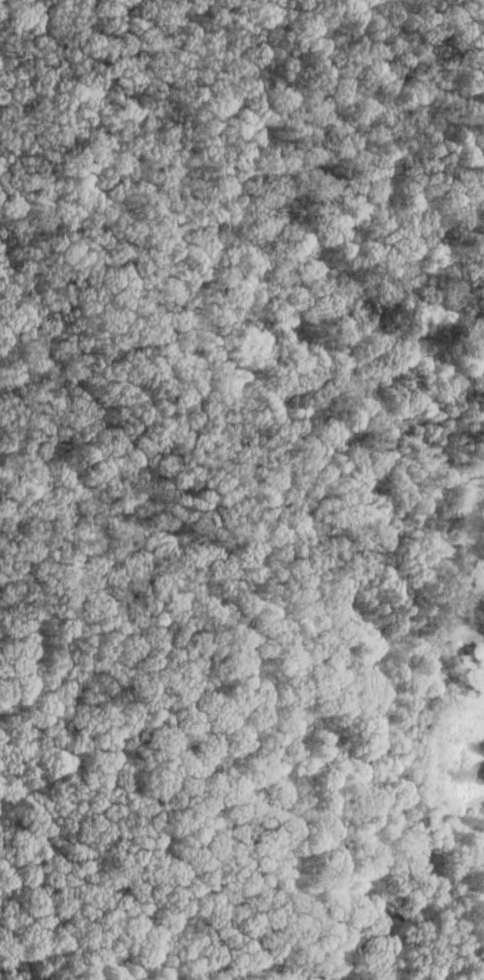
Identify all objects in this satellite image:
road: (452, 805)
road: (421, 809)
road: (148, 955)
road: (390, 956)
road: (300, 969)

